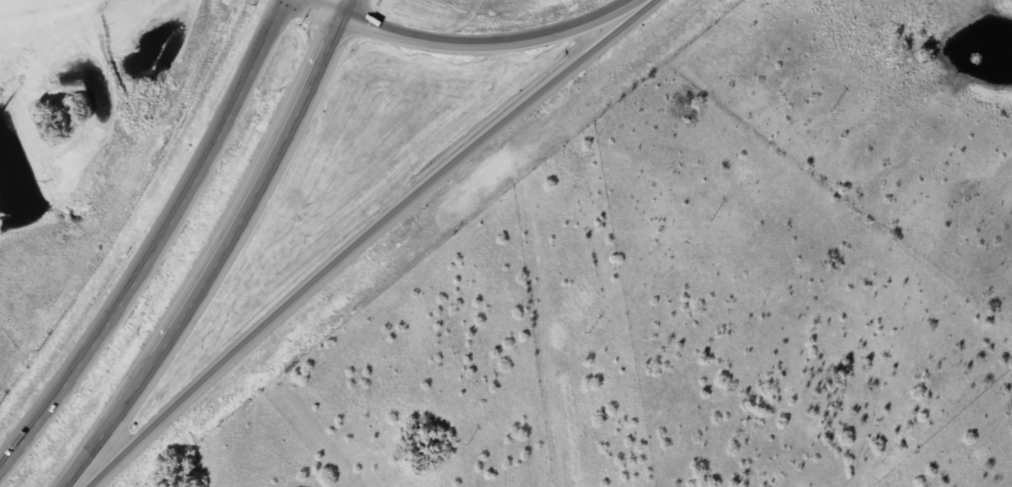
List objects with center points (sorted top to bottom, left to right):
road: (474, 44)
road: (358, 242)
road: (161, 248)
road: (226, 253)
road: (536, 302)

